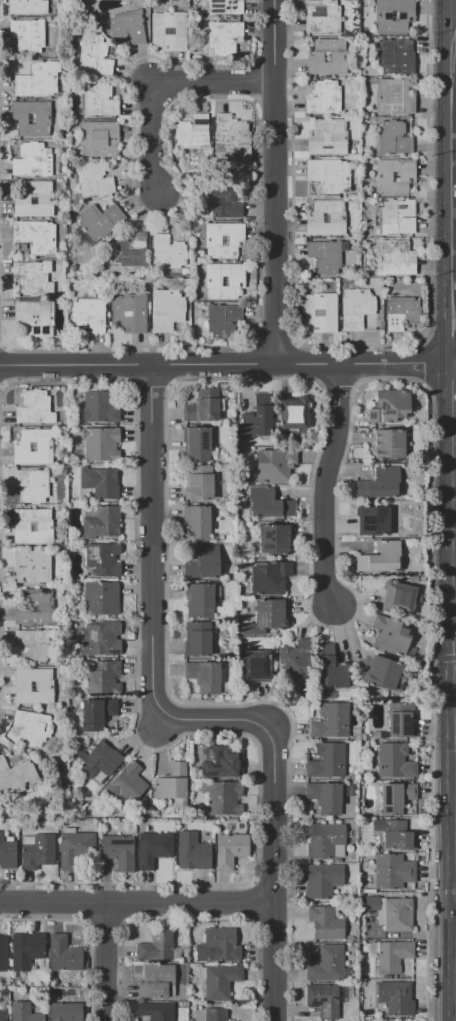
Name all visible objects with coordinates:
building: (27, 7)
building: (221, 8)
road: (452, 8)
building: (392, 15)
road: (454, 15)
building: (322, 16)
building: (126, 26)
building: (169, 30)
building: (28, 35)
building: (221, 37)
building: (392, 54)
building: (93, 55)
building: (326, 56)
building: (36, 79)
road: (165, 88)
building: (393, 97)
building: (324, 98)
building: (97, 99)
building: (32, 117)
building: (192, 134)
building: (327, 137)
building: (393, 137)
building: (98, 138)
building: (232, 138)
building: (32, 160)
building: (329, 174)
building: (394, 176)
building: (93, 181)
road: (280, 182)
road: (452, 190)
building: (32, 198)
building: (224, 201)
building: (325, 217)
building: (395, 217)
building: (98, 222)
building: (35, 235)
building: (223, 239)
building: (130, 251)
building: (168, 252)
building: (327, 255)
building: (394, 258)
building: (33, 278)
building: (224, 280)
building: (356, 308)
building: (166, 309)
building: (129, 312)
building: (319, 312)
building: (401, 312)
building: (89, 313)
building: (33, 318)
building: (223, 320)
road: (226, 365)
road: (453, 387)
building: (202, 406)
building: (389, 406)
building: (99, 407)
building: (34, 408)
building: (293, 413)
building: (257, 417)
building: (388, 442)
building: (94, 443)
building: (198, 443)
building: (21, 446)
building: (275, 465)
road: (455, 479)
building: (199, 482)
building: (100, 483)
building: (378, 484)
building: (32, 485)
road: (328, 487)
building: (268, 503)
building: (372, 520)
building: (102, 522)
building: (197, 522)
building: (33, 526)
building: (275, 539)
building: (380, 557)
building: (103, 559)
building: (203, 562)
building: (33, 566)
building: (270, 578)
building: (400, 596)
building: (101, 598)
building: (201, 599)
building: (22, 606)
building: (270, 614)
building: (391, 635)
building: (197, 638)
building: (99, 641)
building: (32, 644)
building: (294, 661)
building: (255, 666)
building: (332, 669)
building: (382, 672)
building: (204, 676)
building: (103, 678)
building: (34, 685)
building: (96, 713)
road: (187, 719)
building: (331, 720)
building: (400, 720)
building: (32, 728)
building: (220, 760)
building: (98, 761)
building: (326, 761)
building: (395, 762)
building: (15, 776)
building: (129, 781)
building: (172, 784)
building: (325, 796)
building: (224, 798)
building: (396, 798)
building: (398, 836)
building: (324, 840)
building: (154, 848)
building: (230, 849)
building: (77, 851)
building: (118, 851)
building: (193, 851)
building: (37, 852)
building: (7, 853)
building: (392, 871)
building: (322, 880)
road: (137, 906)
building: (398, 915)
building: (325, 923)
building: (156, 945)
building: (218, 946)
building: (26, 949)
building: (3, 953)
building: (64, 954)
building: (392, 956)
road: (111, 963)
building: (327, 964)
building: (156, 981)
building: (220, 981)
building: (396, 998)
building: (323, 1000)
building: (65, 1008)
building: (2, 1011)
building: (155, 1011)
building: (24, 1012)
building: (216, 1014)

